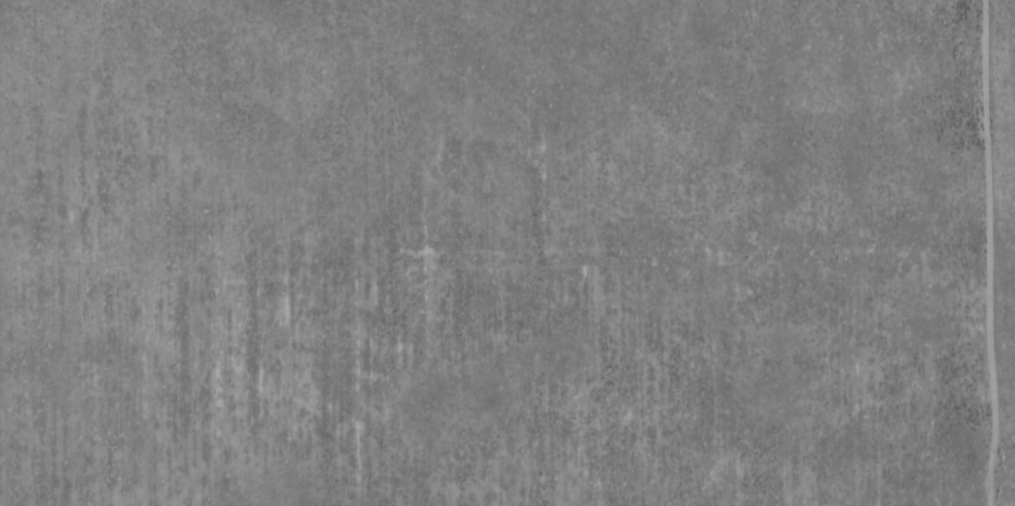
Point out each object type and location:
road: (985, 252)

